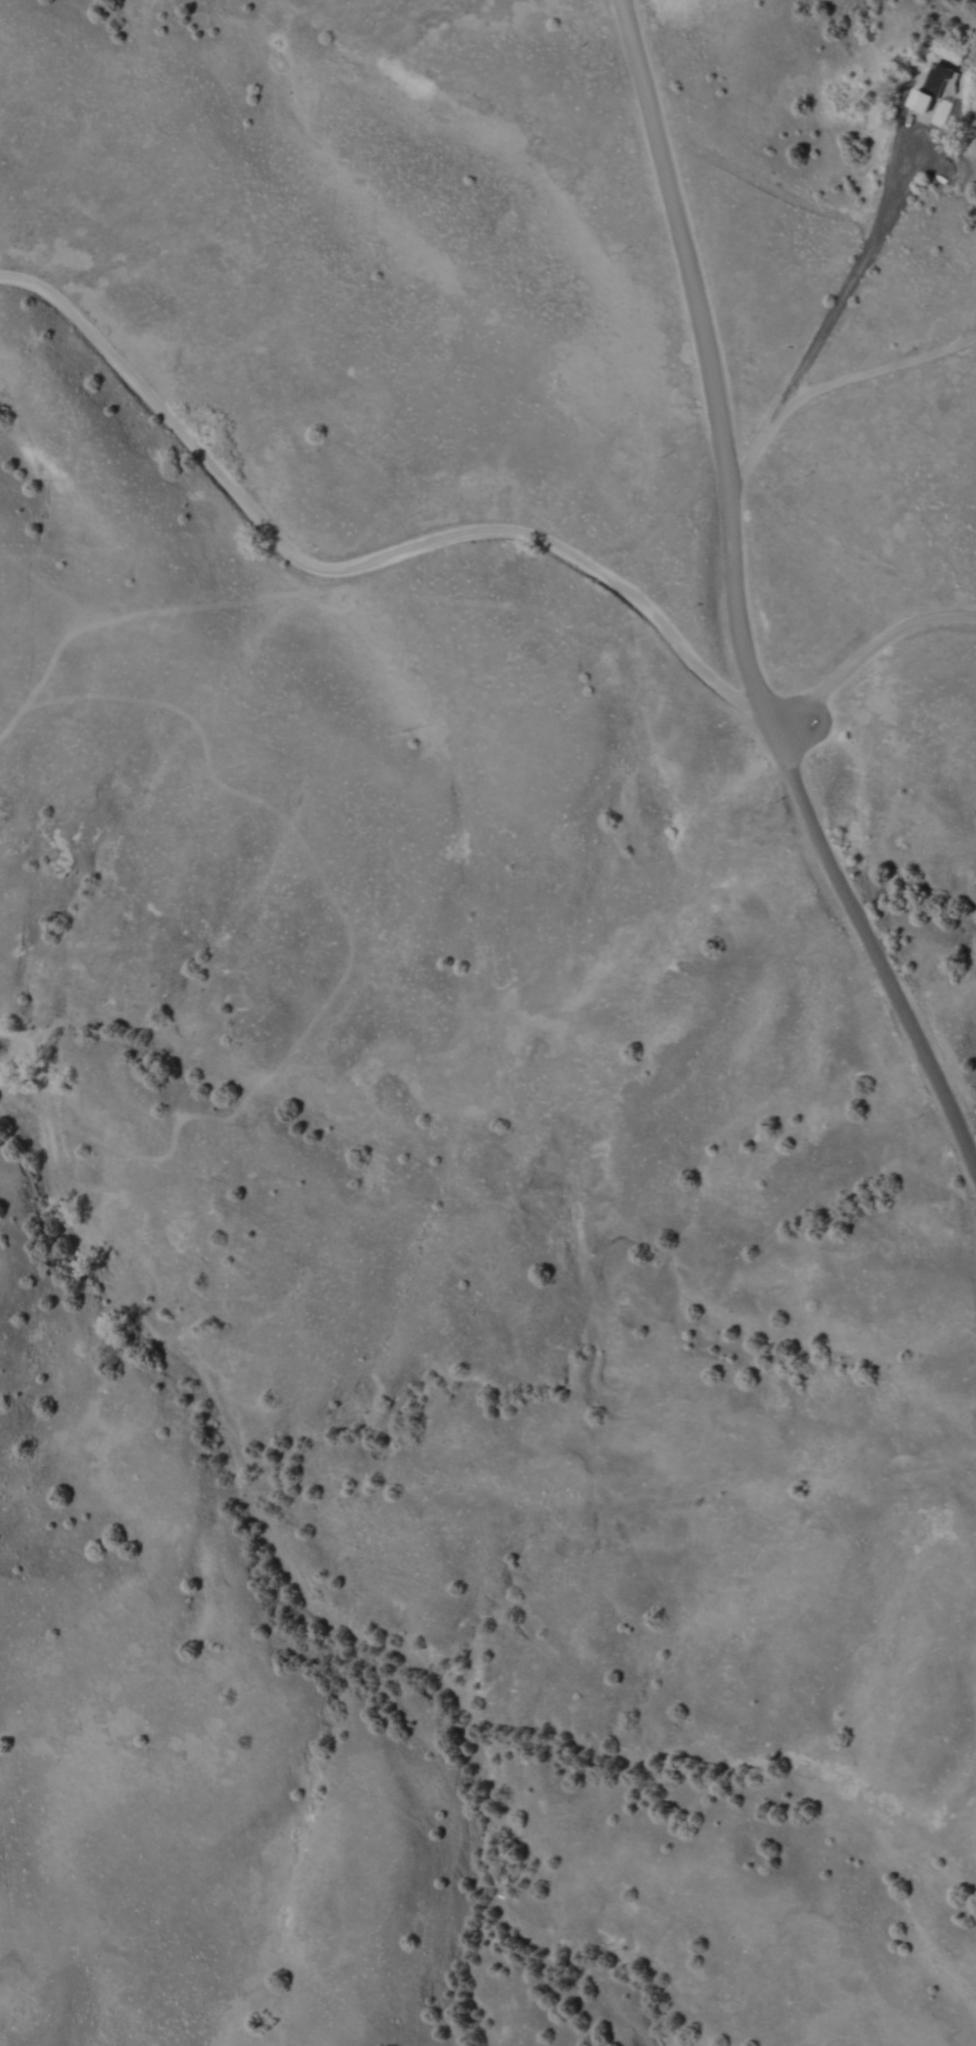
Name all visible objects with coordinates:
building: (935, 88)
road: (859, 265)
road: (713, 359)
road: (832, 383)
road: (361, 562)
road: (865, 649)
road: (874, 945)

